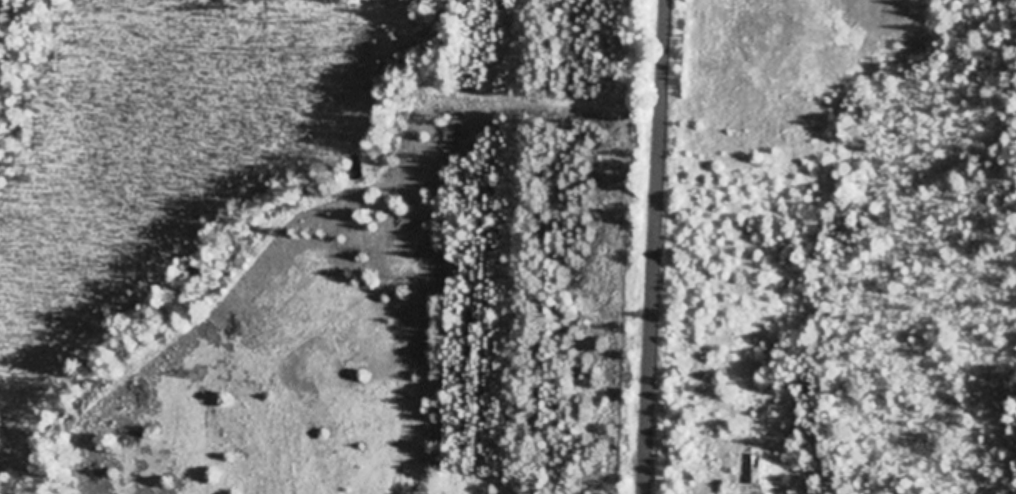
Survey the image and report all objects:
road: (654, 247)
building: (758, 470)

